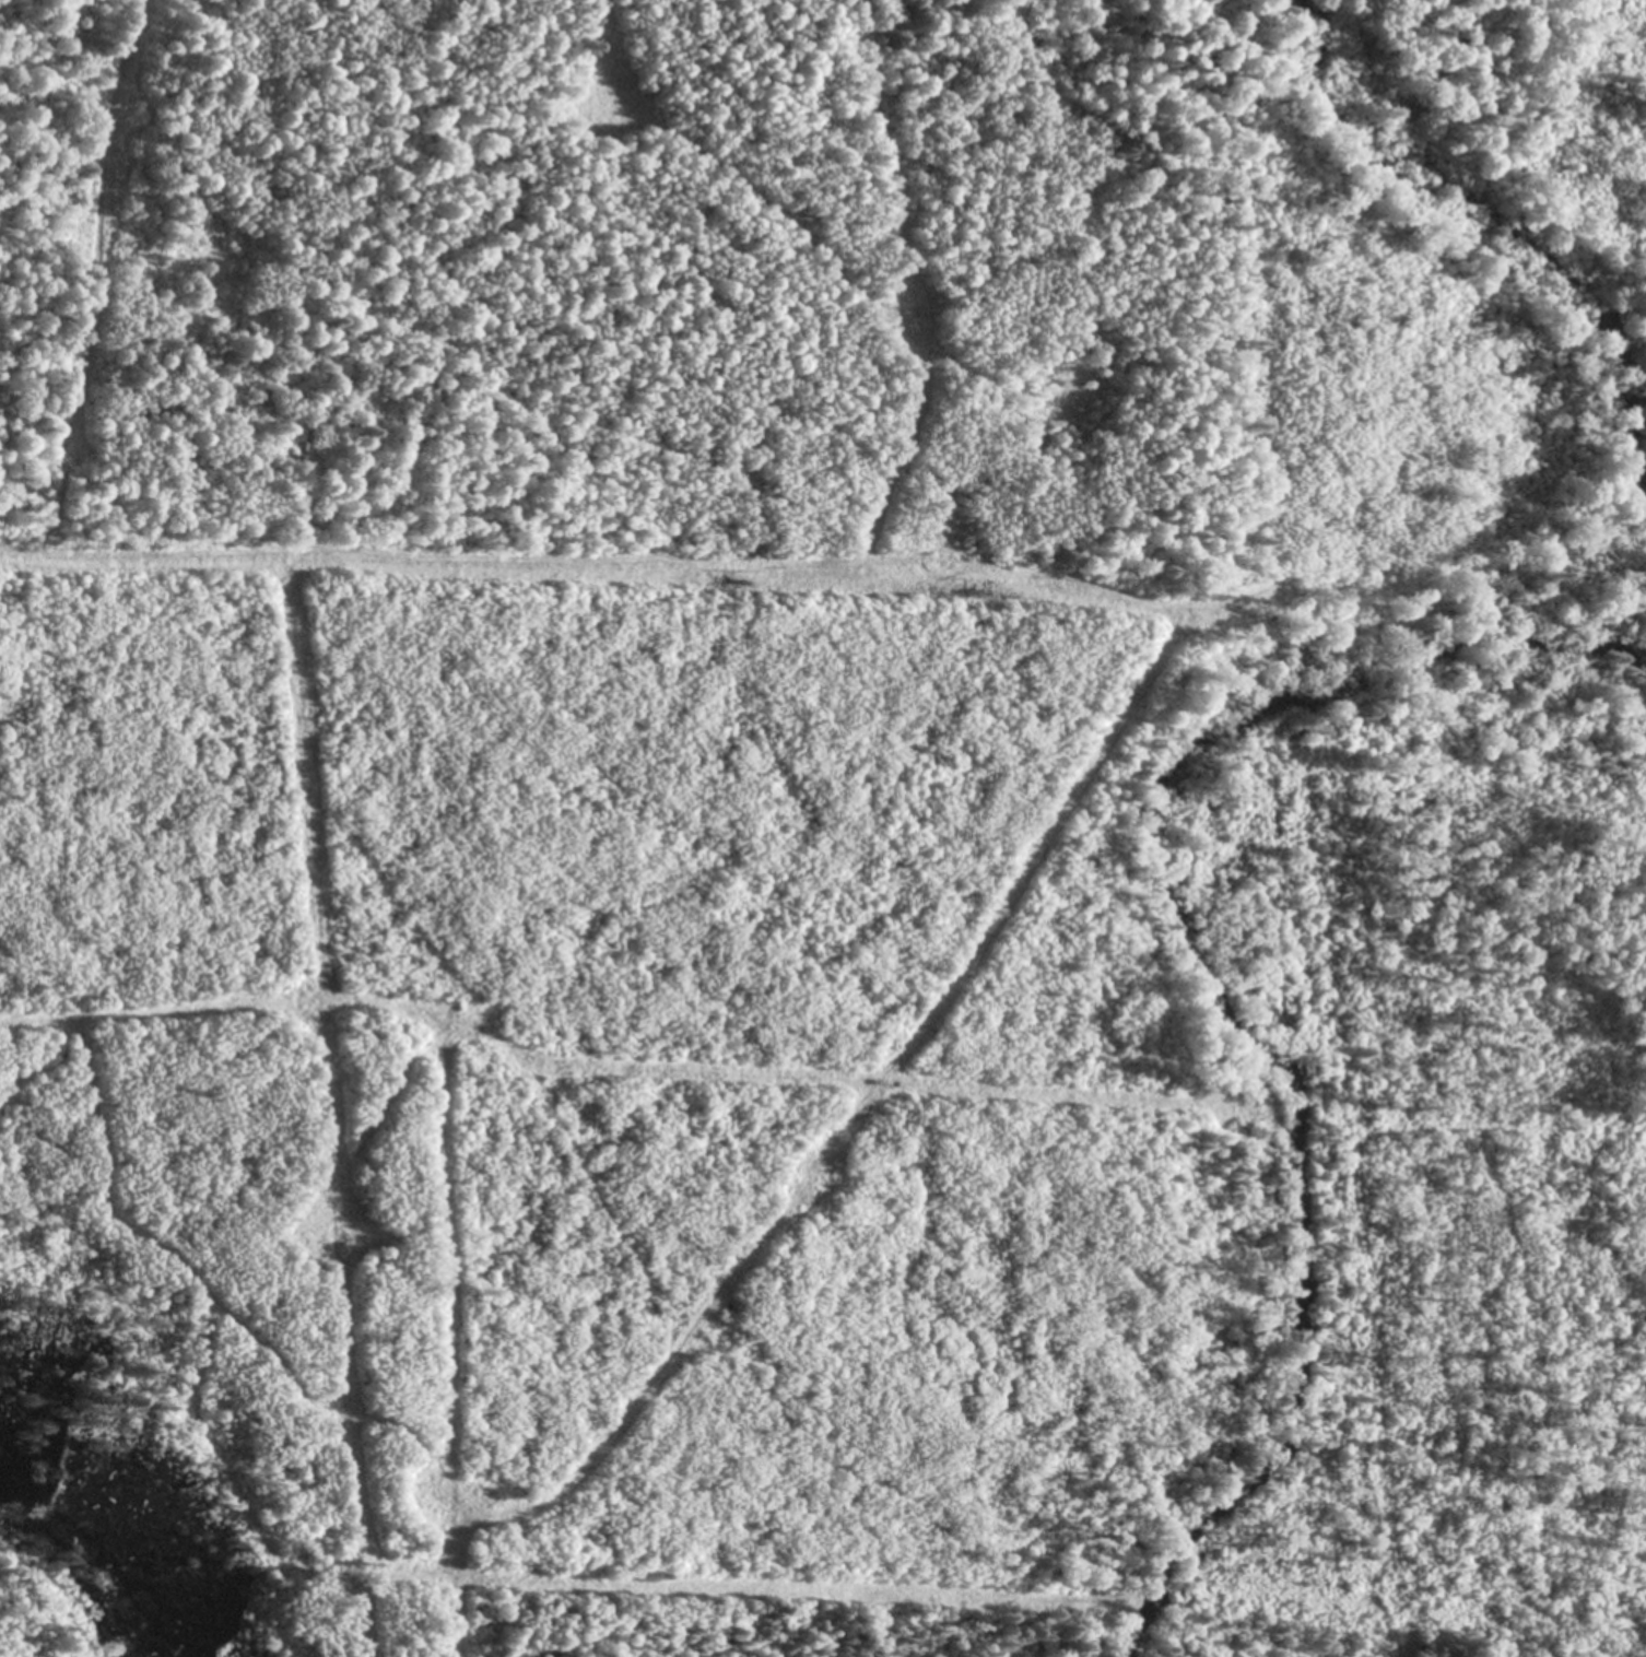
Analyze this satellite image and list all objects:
road: (97, 215)
road: (857, 223)

